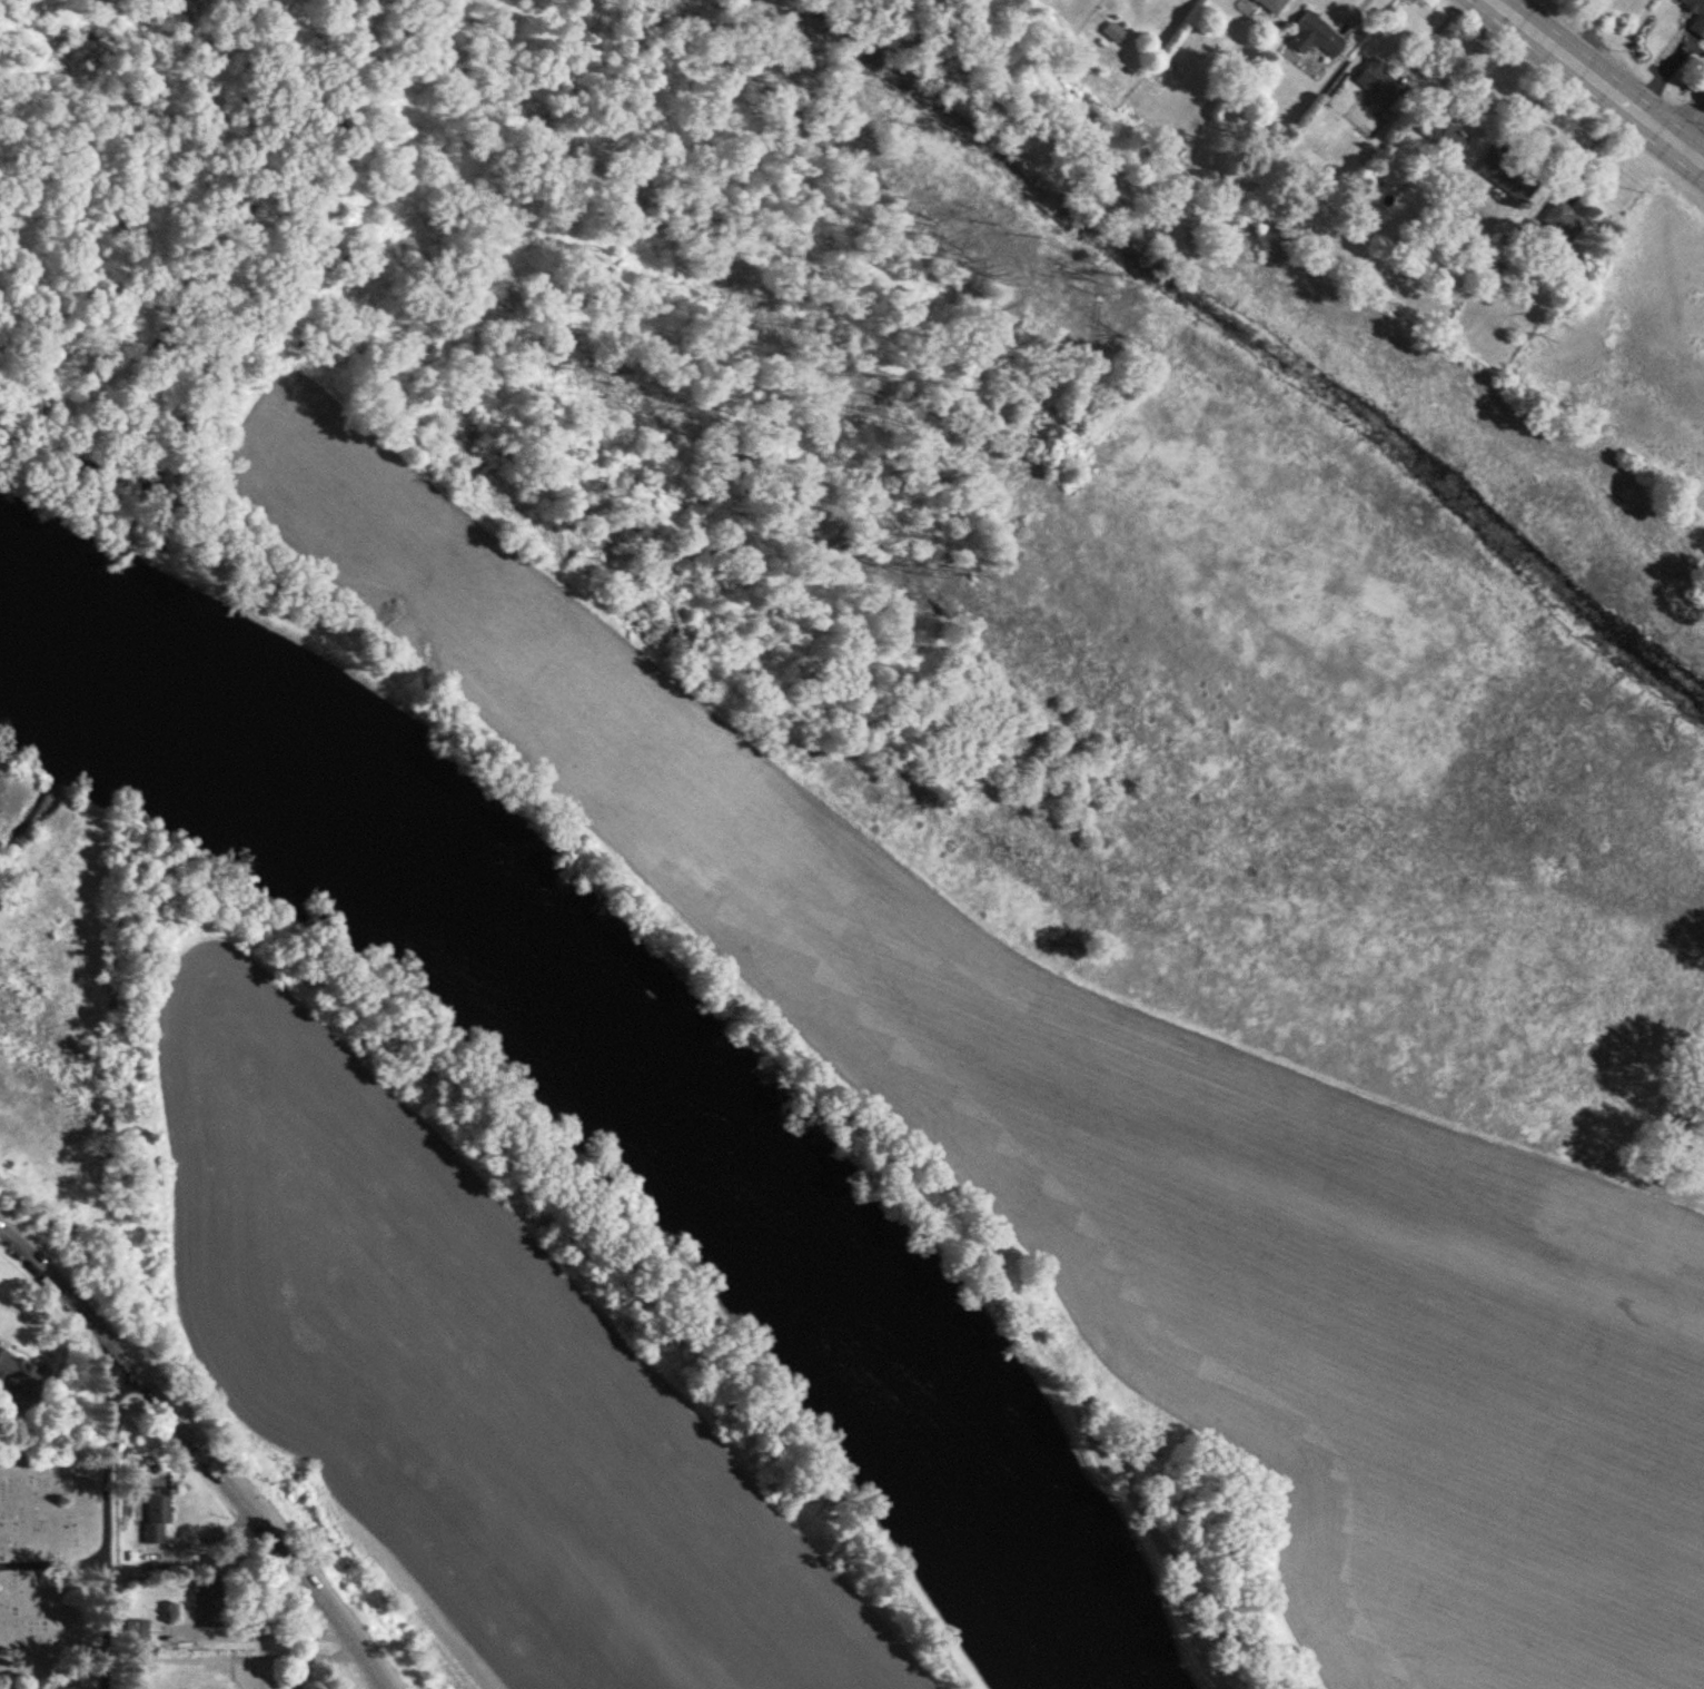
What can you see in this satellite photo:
building: (1272, 6)
building: (1698, 21)
road: (1566, 22)
building: (1316, 36)
building: (1380, 81)
road: (1597, 82)
road: (1687, 117)
building: (1507, 174)
building: (1564, 220)
park: (971, 737)
river: (633, 1069)
building: (19, 1374)
road: (200, 1453)
road: (110, 1461)
building: (158, 1519)
road: (53, 1564)
park: (60, 1570)
building: (214, 1603)
road: (103, 1624)

